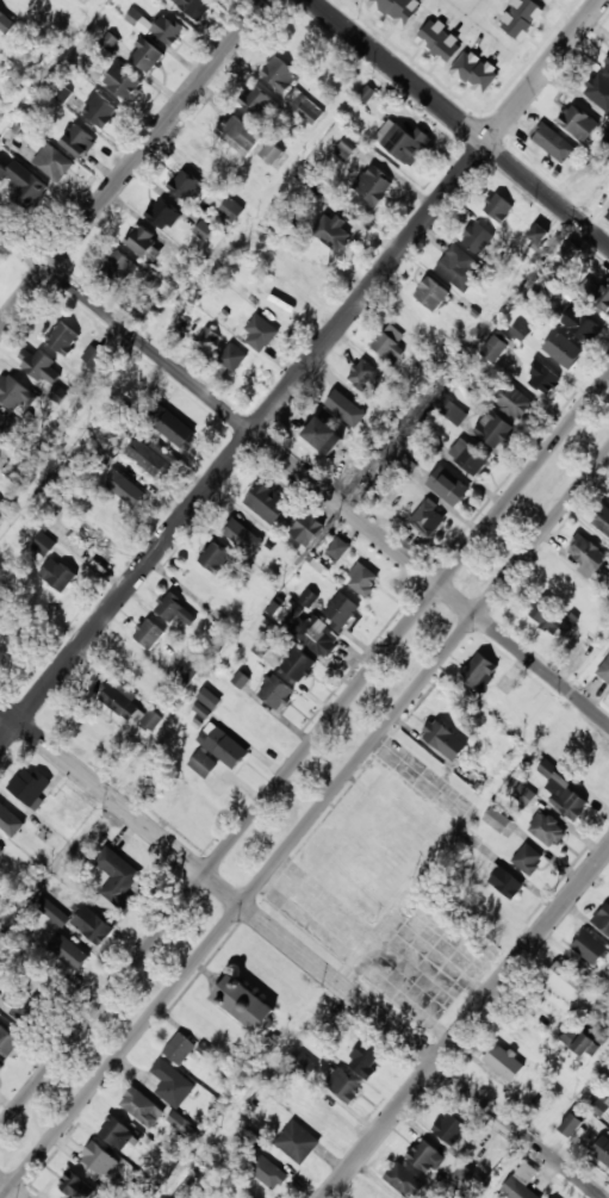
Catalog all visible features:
building: (548, 1)
building: (194, 7)
building: (398, 10)
building: (1, 17)
building: (521, 18)
building: (138, 20)
building: (167, 30)
building: (110, 41)
building: (439, 42)
building: (148, 55)
building: (607, 63)
building: (474, 72)
building: (279, 74)
building: (124, 82)
building: (598, 91)
building: (366, 93)
building: (257, 98)
building: (303, 106)
building: (100, 110)
road: (460, 122)
building: (578, 122)
building: (238, 135)
building: (79, 139)
building: (405, 142)
building: (554, 143)
building: (346, 148)
building: (272, 153)
building: (54, 162)
road: (132, 165)
building: (596, 168)
building: (24, 184)
building: (184, 184)
building: (373, 186)
building: (498, 206)
building: (231, 210)
building: (163, 213)
building: (608, 215)
building: (203, 229)
building: (333, 231)
building: (539, 234)
building: (477, 237)
building: (141, 241)
building: (568, 250)
building: (118, 266)
building: (459, 268)
building: (431, 293)
building: (603, 297)
building: (410, 322)
building: (582, 324)
building: (520, 330)
building: (260, 331)
building: (206, 336)
building: (63, 337)
building: (497, 346)
building: (389, 347)
building: (563, 349)
building: (92, 355)
building: (232, 356)
building: (42, 367)
road: (299, 375)
building: (367, 375)
building: (543, 377)
building: (468, 381)
building: (15, 392)
building: (58, 393)
building: (512, 401)
building: (344, 403)
building: (452, 411)
building: (172, 424)
building: (7, 429)
building: (493, 429)
building: (322, 435)
building: (148, 452)
building: (468, 455)
building: (104, 458)
building: (404, 465)
road: (304, 474)
building: (129, 485)
building: (448, 486)
building: (608, 497)
building: (267, 502)
building: (1, 507)
building: (107, 513)
building: (602, 517)
building: (43, 519)
building: (428, 519)
building: (307, 529)
building: (243, 534)
building: (86, 540)
building: (43, 544)
building: (337, 548)
building: (589, 555)
building: (215, 557)
building: (58, 575)
building: (362, 579)
building: (309, 597)
building: (174, 609)
building: (342, 610)
building: (548, 616)
building: (149, 634)
building: (315, 634)
building: (299, 664)
building: (129, 669)
building: (604, 670)
building: (479, 672)
building: (186, 674)
building: (240, 679)
building: (275, 691)
building: (209, 697)
building: (119, 699)
building: (201, 709)
building: (93, 732)
building: (445, 740)
road: (304, 751)
building: (219, 752)
building: (31, 786)
building: (524, 794)
building: (570, 802)
building: (70, 812)
building: (8, 818)
building: (497, 819)
road: (304, 821)
building: (546, 828)
building: (1, 840)
building: (1, 849)
building: (528, 859)
building: (118, 875)
building: (507, 883)
building: (603, 918)
building: (0, 920)
building: (79, 920)
building: (590, 948)
road: (299, 952)
building: (70, 956)
building: (567, 980)
building: (20, 1001)
building: (244, 1004)
road: (468, 1024)
building: (583, 1038)
building: (6, 1041)
building: (185, 1049)
building: (366, 1059)
building: (303, 1063)
building: (504, 1063)
building: (1, 1064)
building: (173, 1082)
building: (343, 1086)
building: (142, 1107)
building: (599, 1107)
building: (319, 1115)
building: (573, 1126)
building: (450, 1128)
building: (116, 1132)
building: (297, 1142)
building: (602, 1150)
building: (429, 1157)
building: (99, 1159)
building: (268, 1173)
building: (404, 1180)
building: (521, 1183)
building: (75, 1187)
road: (11, 1188)

